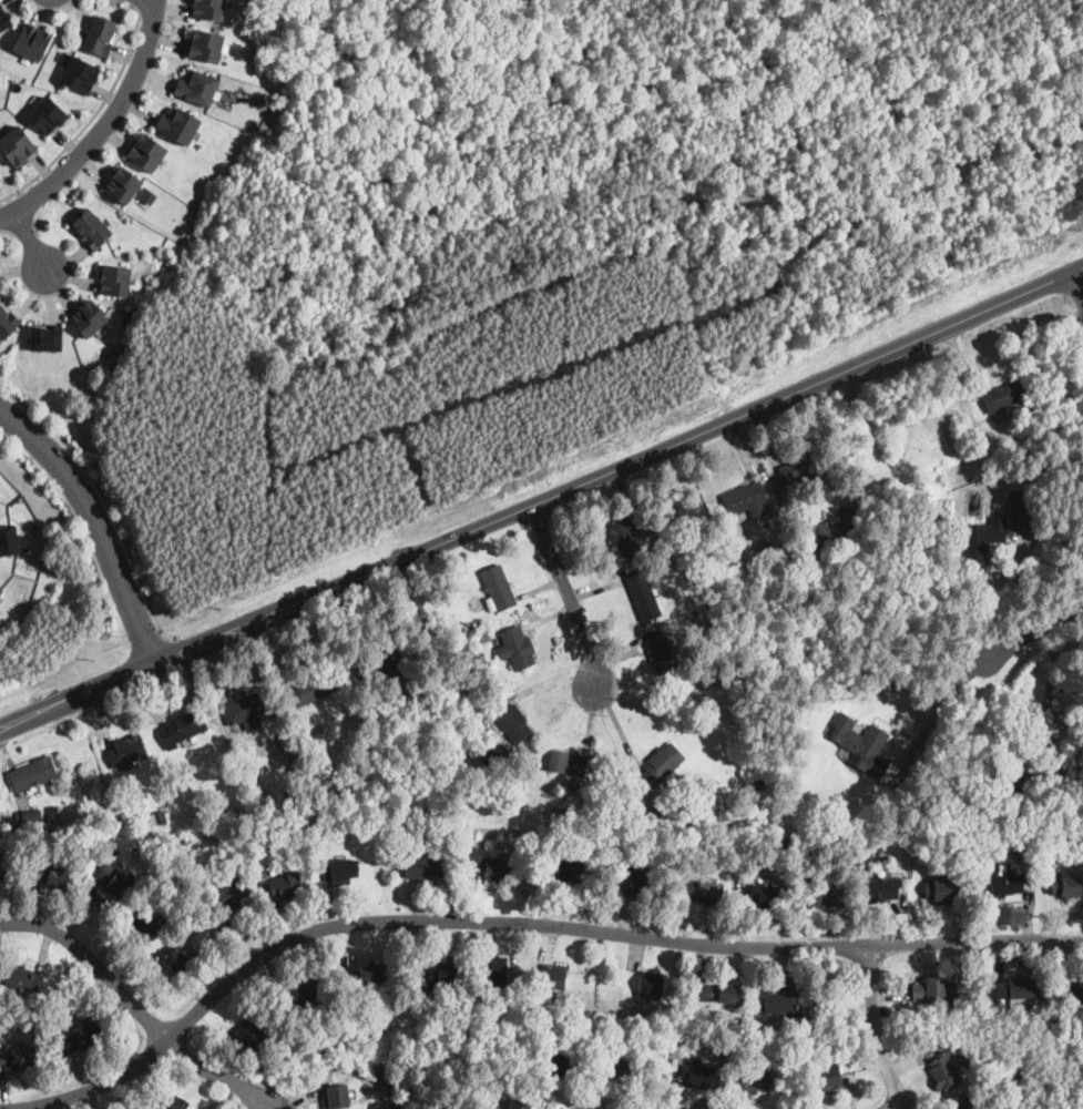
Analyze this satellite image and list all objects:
road: (133, 2)
building: (208, 9)
building: (4, 18)
building: (102, 37)
building: (32, 41)
building: (204, 44)
building: (80, 73)
building: (196, 88)
building: (47, 114)
road: (93, 115)
building: (178, 125)
road: (104, 126)
building: (17, 146)
building: (146, 153)
building: (123, 184)
road: (561, 208)
building: (91, 230)
building: (182, 230)
road: (30, 241)
building: (115, 279)
building: (0, 281)
road: (1077, 284)
road: (613, 302)
building: (86, 317)
road: (768, 321)
building: (7, 323)
building: (47, 338)
road: (963, 379)
building: (1005, 397)
building: (1032, 410)
building: (888, 419)
building: (1003, 464)
building: (804, 468)
road: (104, 498)
road: (541, 500)
building: (746, 500)
building: (1023, 505)
building: (844, 519)
road: (96, 522)
building: (622, 533)
building: (821, 533)
building: (936, 537)
building: (982, 540)
building: (9, 541)
building: (707, 549)
building: (763, 549)
building: (667, 557)
building: (723, 580)
building: (500, 589)
building: (1, 591)
road: (571, 592)
building: (644, 594)
building: (898, 594)
building: (992, 608)
road: (1038, 630)
building: (487, 640)
building: (518, 648)
building: (662, 655)
building: (478, 661)
building: (381, 662)
building: (313, 689)
road: (1050, 691)
building: (417, 704)
road: (939, 709)
building: (249, 710)
building: (510, 721)
building: (456, 723)
building: (184, 728)
building: (861, 745)
building: (125, 753)
building: (566, 763)
building: (662, 765)
building: (781, 773)
building: (32, 775)
building: (1026, 780)
building: (331, 785)
building: (759, 785)
building: (558, 814)
building: (1045, 815)
building: (54, 816)
building: (570, 816)
building: (662, 816)
building: (159, 817)
building: (579, 817)
building: (32, 818)
building: (548, 820)
building: (591, 821)
building: (270, 826)
building: (687, 826)
building: (181, 841)
building: (786, 845)
building: (1051, 845)
building: (239, 847)
building: (1025, 852)
building: (814, 855)
building: (473, 856)
building: (7, 867)
building: (426, 867)
building: (498, 869)
building: (563, 871)
building: (340, 873)
building: (53, 878)
building: (116, 882)
building: (636, 884)
building: (1007, 884)
building: (286, 886)
building: (1066, 887)
building: (232, 891)
building: (880, 891)
building: (701, 892)
building: (943, 892)
building: (766, 894)
building: (830, 895)
road: (514, 920)
building: (146, 923)
building: (214, 930)
road: (94, 962)
building: (177, 963)
building: (491, 973)
building: (448, 975)
building: (370, 977)
building: (552, 977)
building: (21, 978)
building: (651, 985)
building: (995, 989)
building: (934, 991)
building: (1021, 991)
building: (302, 994)
building: (716, 994)
building: (1071, 995)
building: (431, 996)
building: (781, 1000)
building: (1043, 1007)
building: (987, 1010)
building: (995, 1017)
building: (1054, 1017)
building: (446, 1020)
road: (875, 1029)
building: (253, 1035)
building: (85, 1038)
building: (16, 1058)
building: (556, 1064)
building: (998, 1064)
building: (285, 1069)
building: (625, 1069)
road: (218, 1074)
building: (944, 1074)
building: (701, 1076)
building: (755, 1078)
building: (828, 1079)
building: (337, 1097)
building: (168, 1100)
building: (970, 1102)
building: (519, 1105)
road: (896, 1105)

